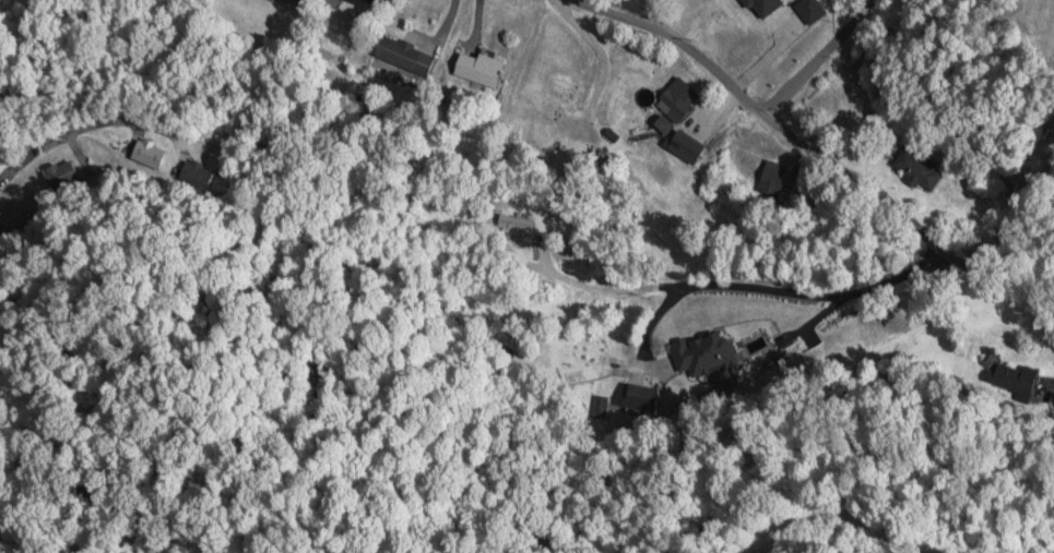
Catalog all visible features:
building: (369, 1)
road: (590, 2)
building: (401, 56)
road: (818, 58)
building: (867, 58)
building: (477, 70)
building: (675, 100)
road: (72, 133)
building: (678, 143)
road: (817, 156)
building: (916, 170)
building: (771, 178)
building: (16, 214)
building: (756, 345)
building: (700, 352)
building: (1014, 377)

